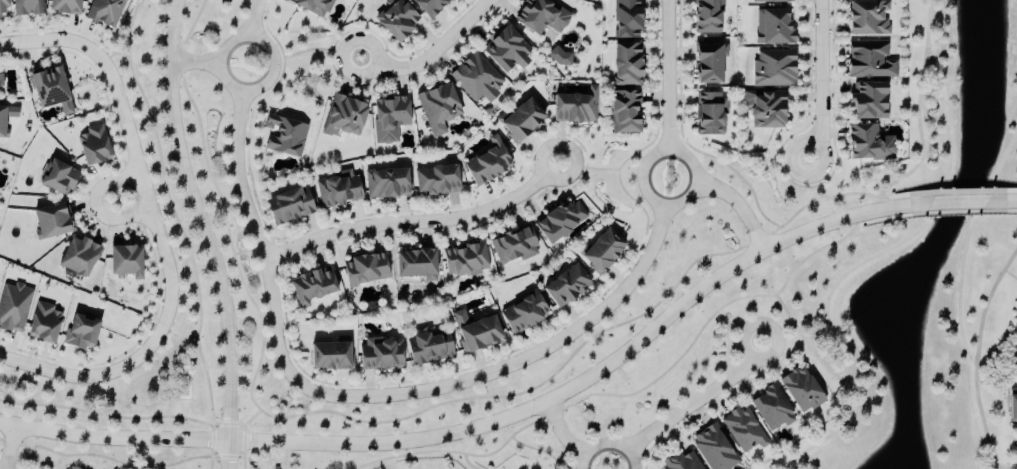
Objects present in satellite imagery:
building: (771, 2)
building: (311, 6)
building: (428, 6)
building: (3, 7)
building: (63, 7)
building: (27, 8)
building: (104, 12)
building: (540, 17)
building: (705, 17)
road: (254, 18)
building: (396, 19)
building: (626, 19)
building: (866, 19)
building: (772, 28)
road: (56, 42)
building: (505, 50)
road: (433, 54)
building: (869, 61)
road: (196, 62)
building: (626, 65)
building: (707, 65)
building: (773, 69)
road: (820, 72)
road: (667, 76)
building: (476, 79)
road: (252, 87)
building: (49, 90)
building: (868, 102)
building: (574, 108)
building: (437, 109)
building: (764, 109)
building: (624, 113)
building: (709, 115)
building: (6, 117)
building: (343, 118)
building: (388, 120)
building: (520, 121)
building: (284, 137)
building: (868, 145)
building: (93, 146)
road: (788, 162)
building: (487, 163)
building: (56, 178)
building: (435, 181)
building: (385, 185)
building: (337, 190)
road: (963, 190)
road: (1004, 190)
road: (907, 192)
road: (652, 198)
road: (149, 200)
road: (1002, 200)
road: (958, 201)
road: (97, 206)
road: (740, 206)
building: (288, 207)
road: (999, 211)
road: (953, 212)
road: (890, 216)
road: (927, 218)
building: (51, 221)
building: (560, 222)
road: (418, 223)
road: (206, 233)
road: (257, 234)
road: (966, 243)
building: (513, 248)
building: (600, 252)
building: (77, 258)
building: (464, 261)
building: (125, 263)
building: (415, 265)
building: (364, 271)
road: (1010, 274)
building: (312, 287)
building: (566, 287)
road: (987, 301)
building: (13, 308)
building: (523, 314)
building: (43, 324)
building: (475, 332)
building: (80, 333)
building: (1015, 340)
building: (428, 349)
building: (379, 355)
building: (330, 357)
road: (515, 366)
road: (87, 379)
building: (800, 390)
road: (627, 391)
road: (700, 402)
building: (771, 409)
building: (1012, 409)
road: (981, 416)
road: (492, 423)
building: (743, 430)
road: (563, 434)
road: (609, 445)
road: (9, 446)
building: (713, 448)
building: (681, 461)
road: (128, 463)
road: (467, 463)
road: (1005, 465)

